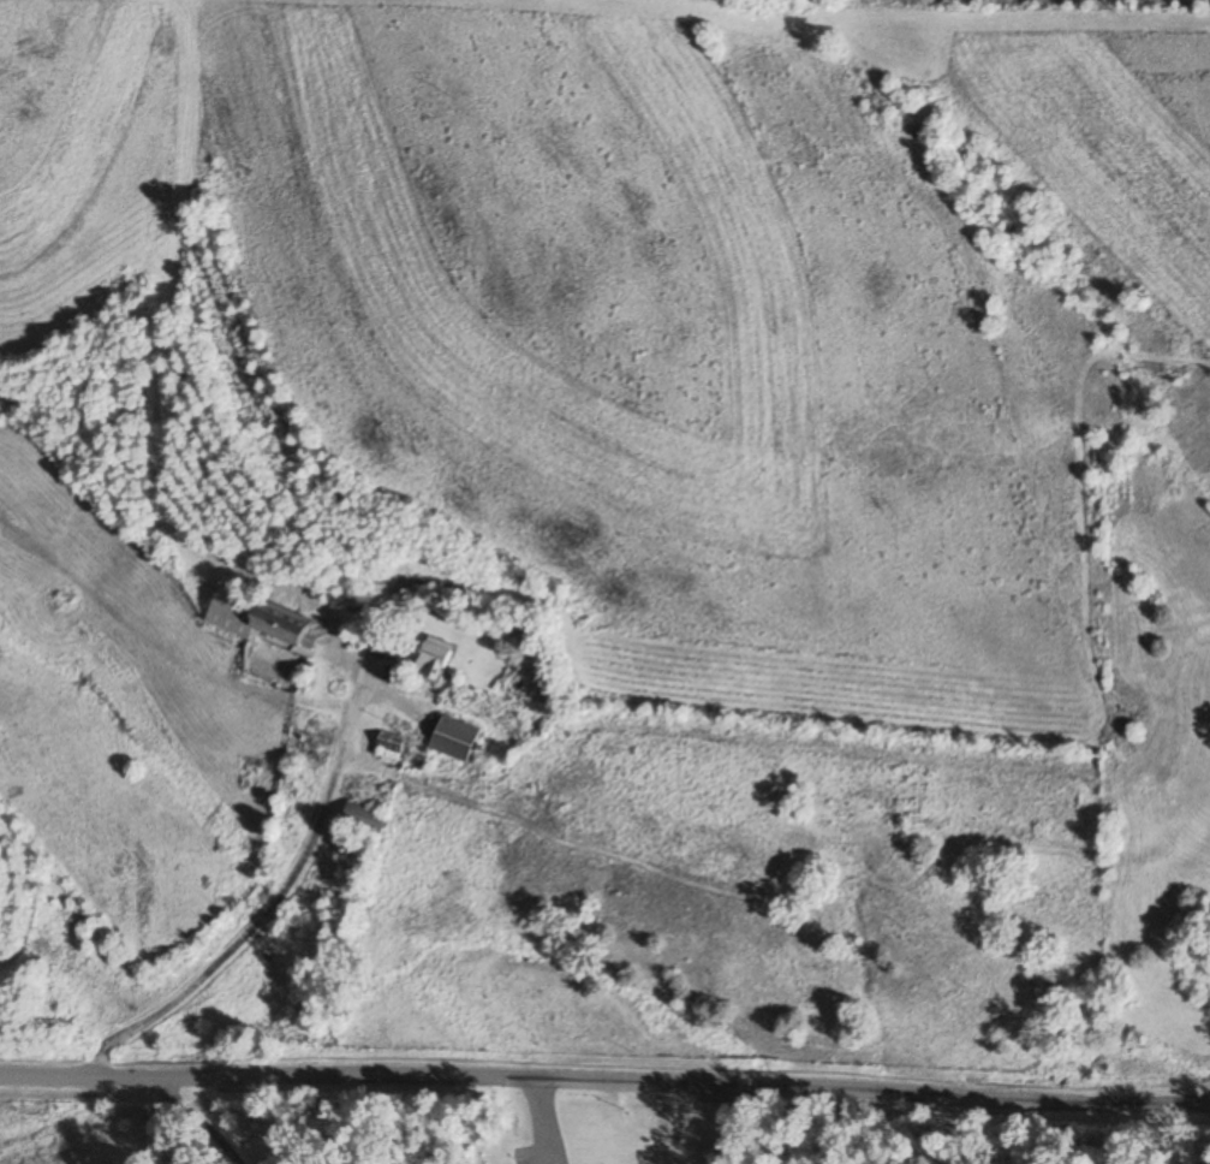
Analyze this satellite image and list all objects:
building: (262, 622)
building: (386, 645)
building: (434, 659)
building: (454, 740)
building: (389, 743)
building: (365, 818)
road: (261, 920)
road: (604, 1081)

